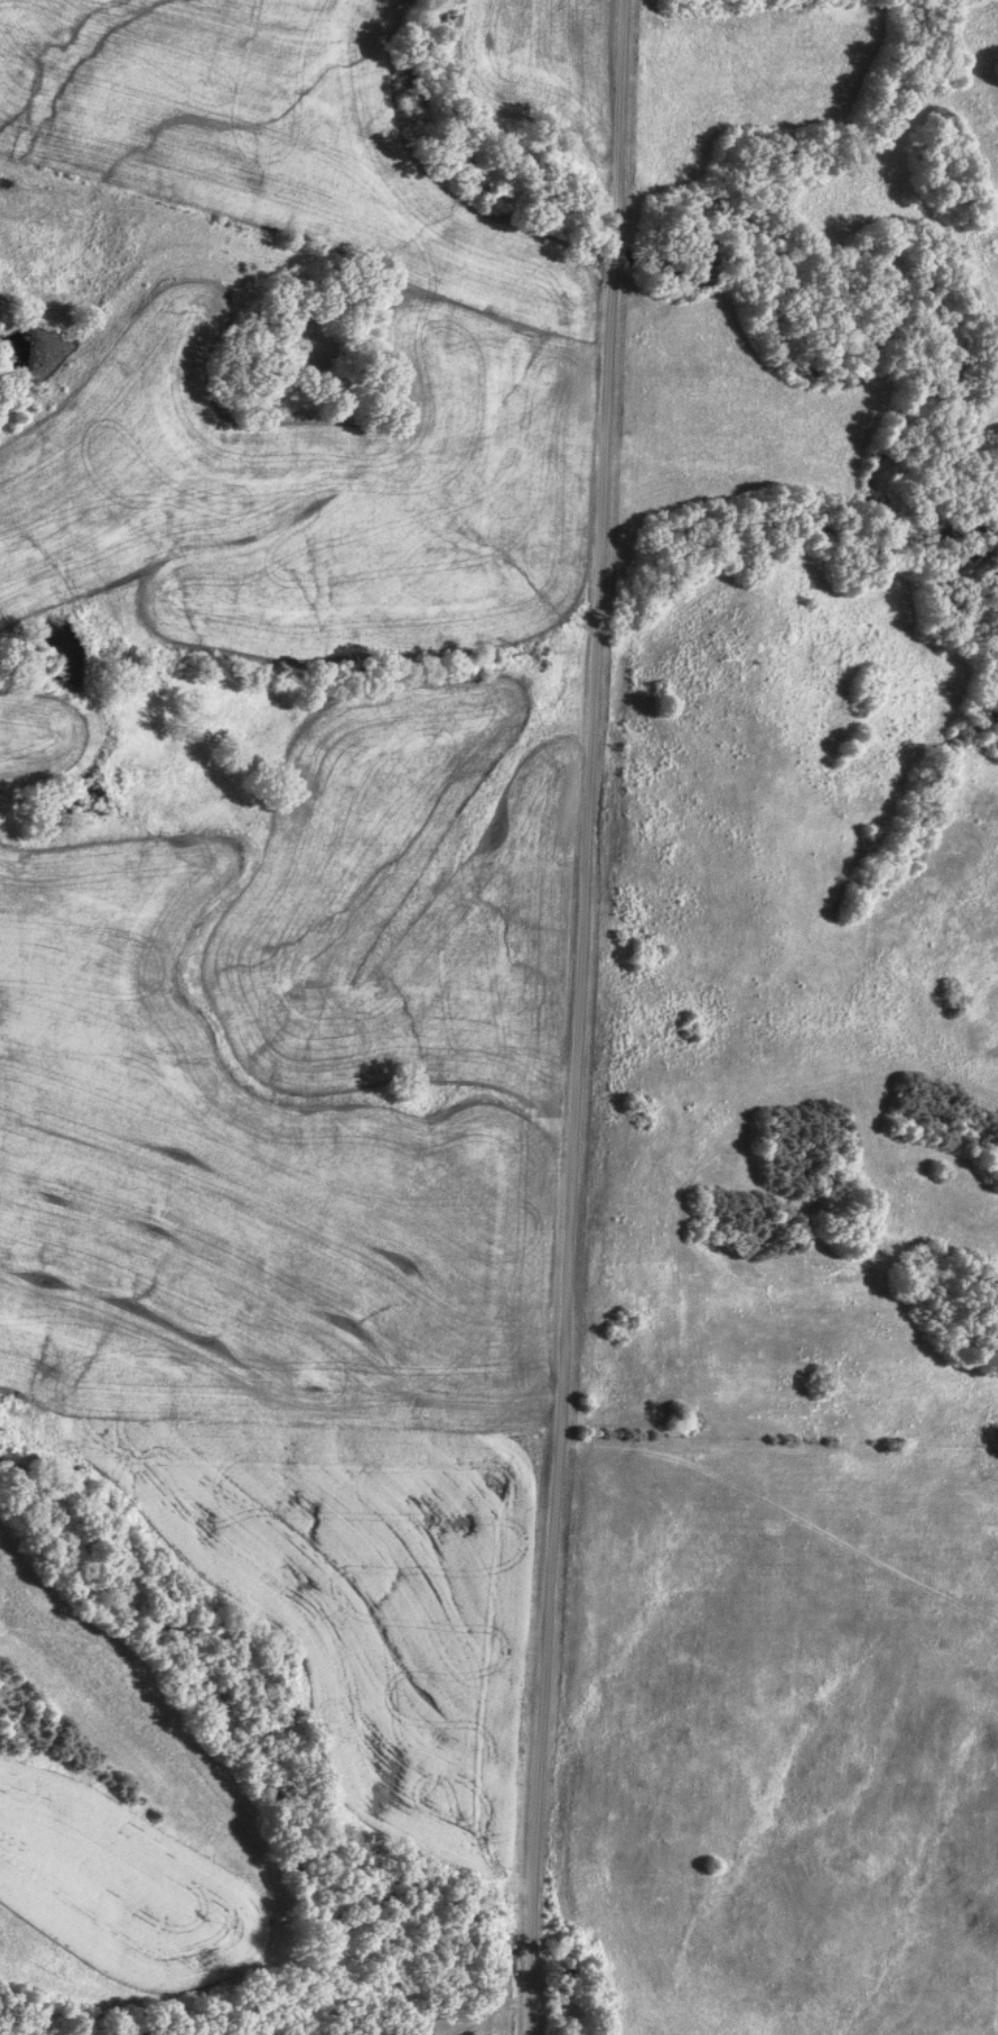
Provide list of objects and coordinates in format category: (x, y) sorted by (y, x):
road: (574, 1017)

